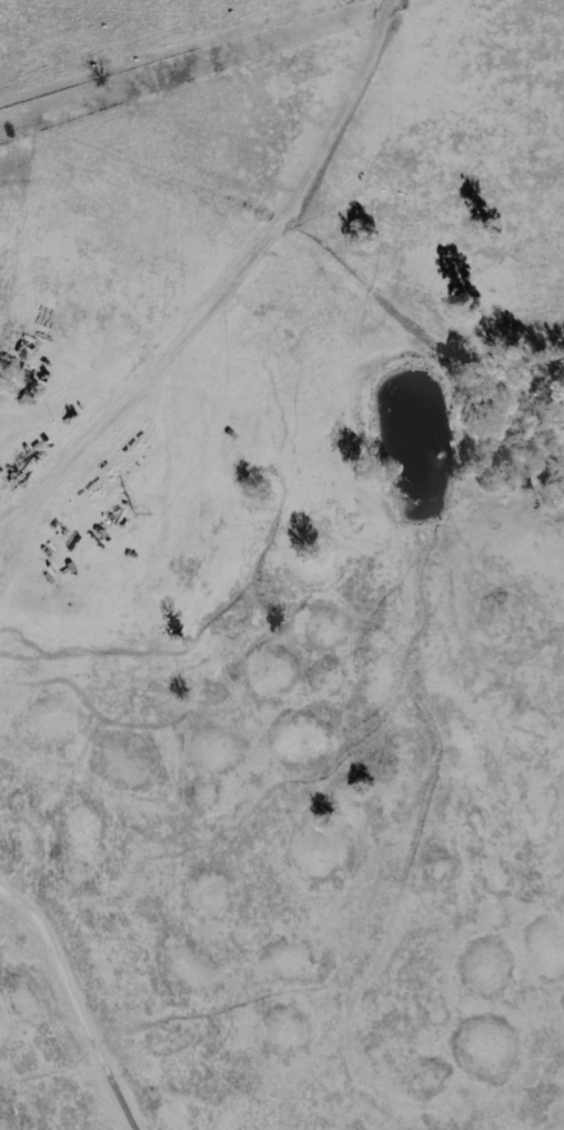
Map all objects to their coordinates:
building: (13, 372)
road: (83, 997)

